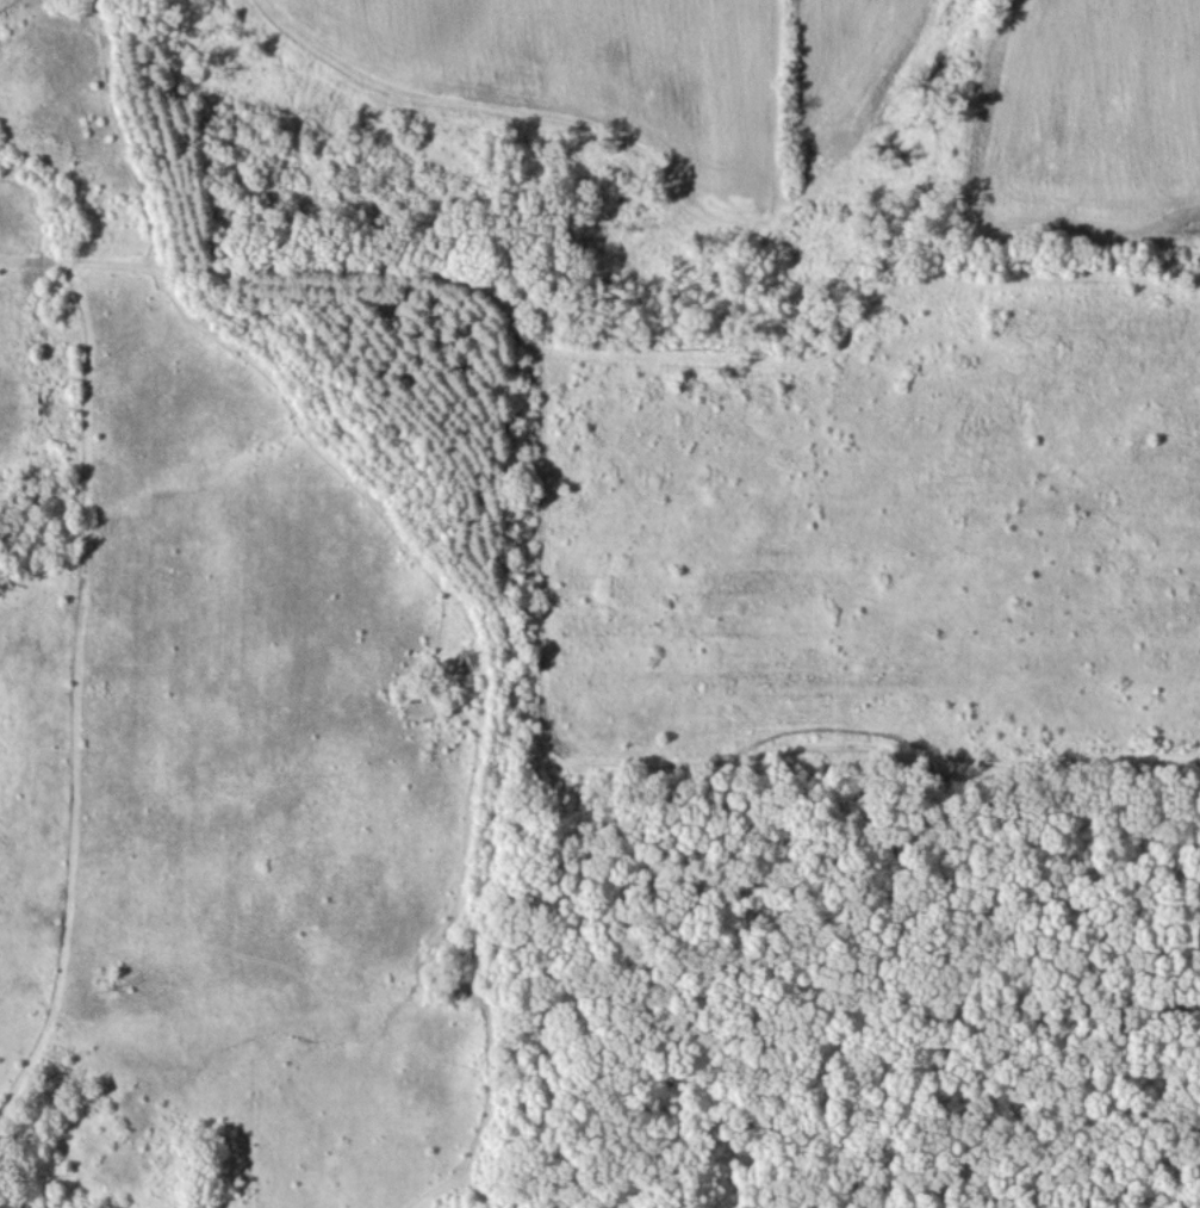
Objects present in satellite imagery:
road: (148, 209)

